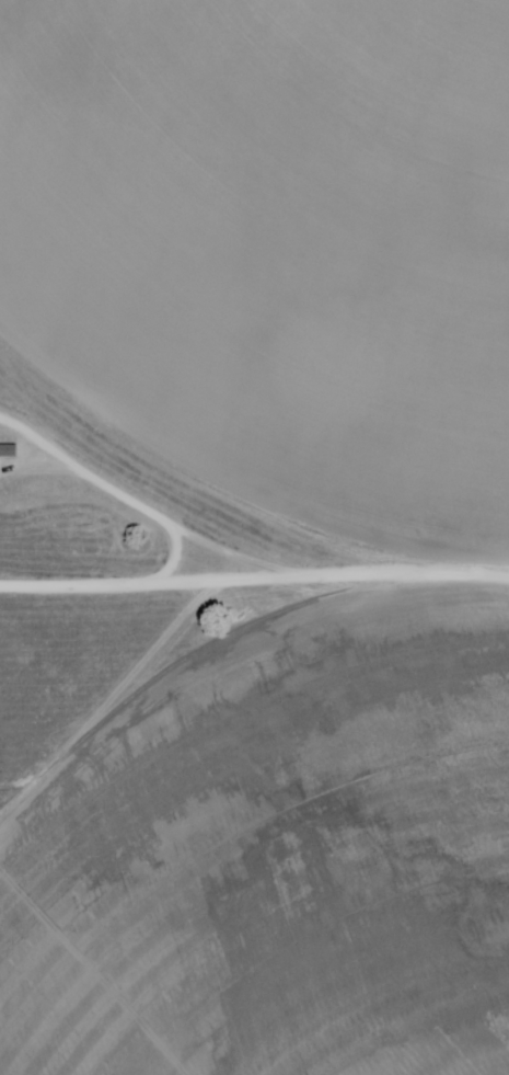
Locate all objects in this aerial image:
road: (242, 529)
road: (175, 581)

